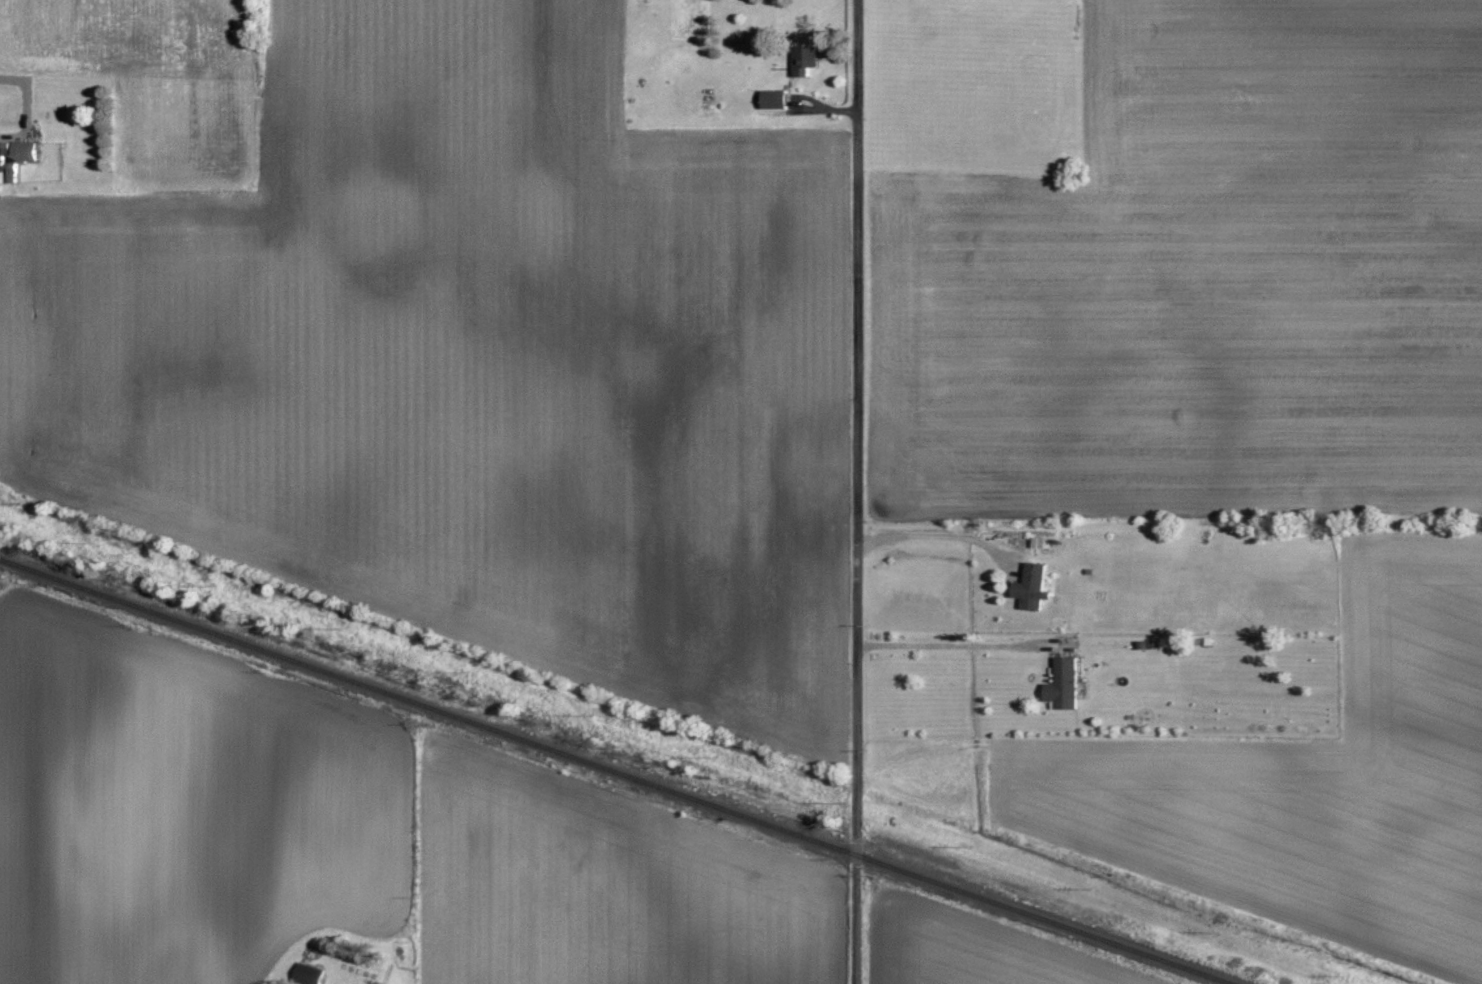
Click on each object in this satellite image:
building: (806, 61)
building: (776, 100)
road: (857, 492)
road: (936, 535)
building: (1033, 582)
road: (960, 644)
building: (1065, 683)
railway: (617, 770)

